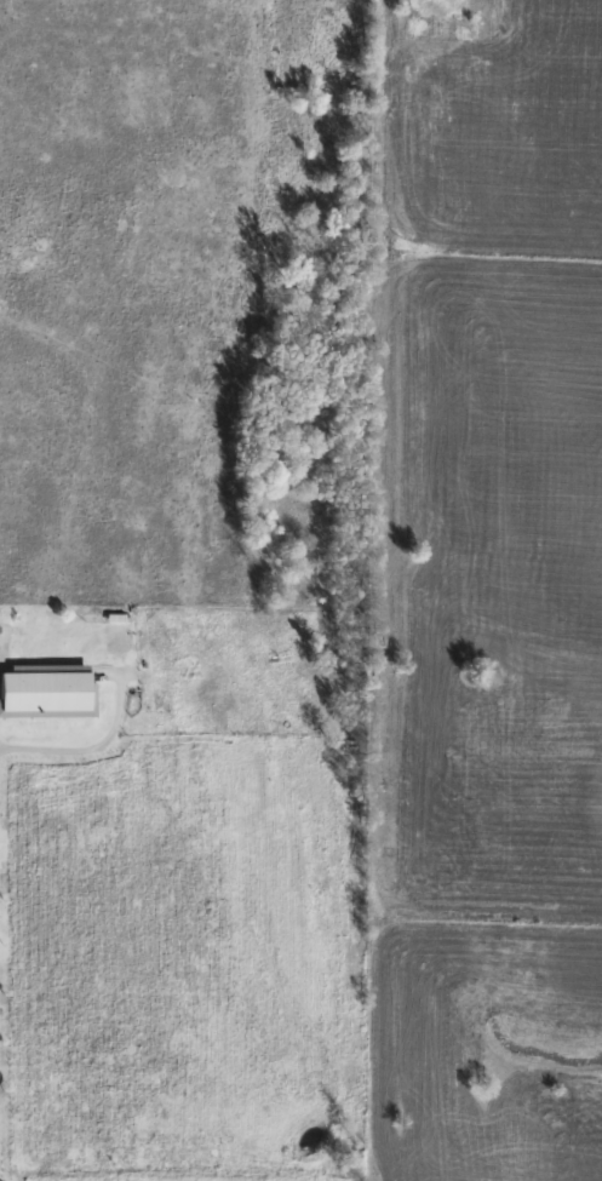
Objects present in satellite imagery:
building: (42, 690)

